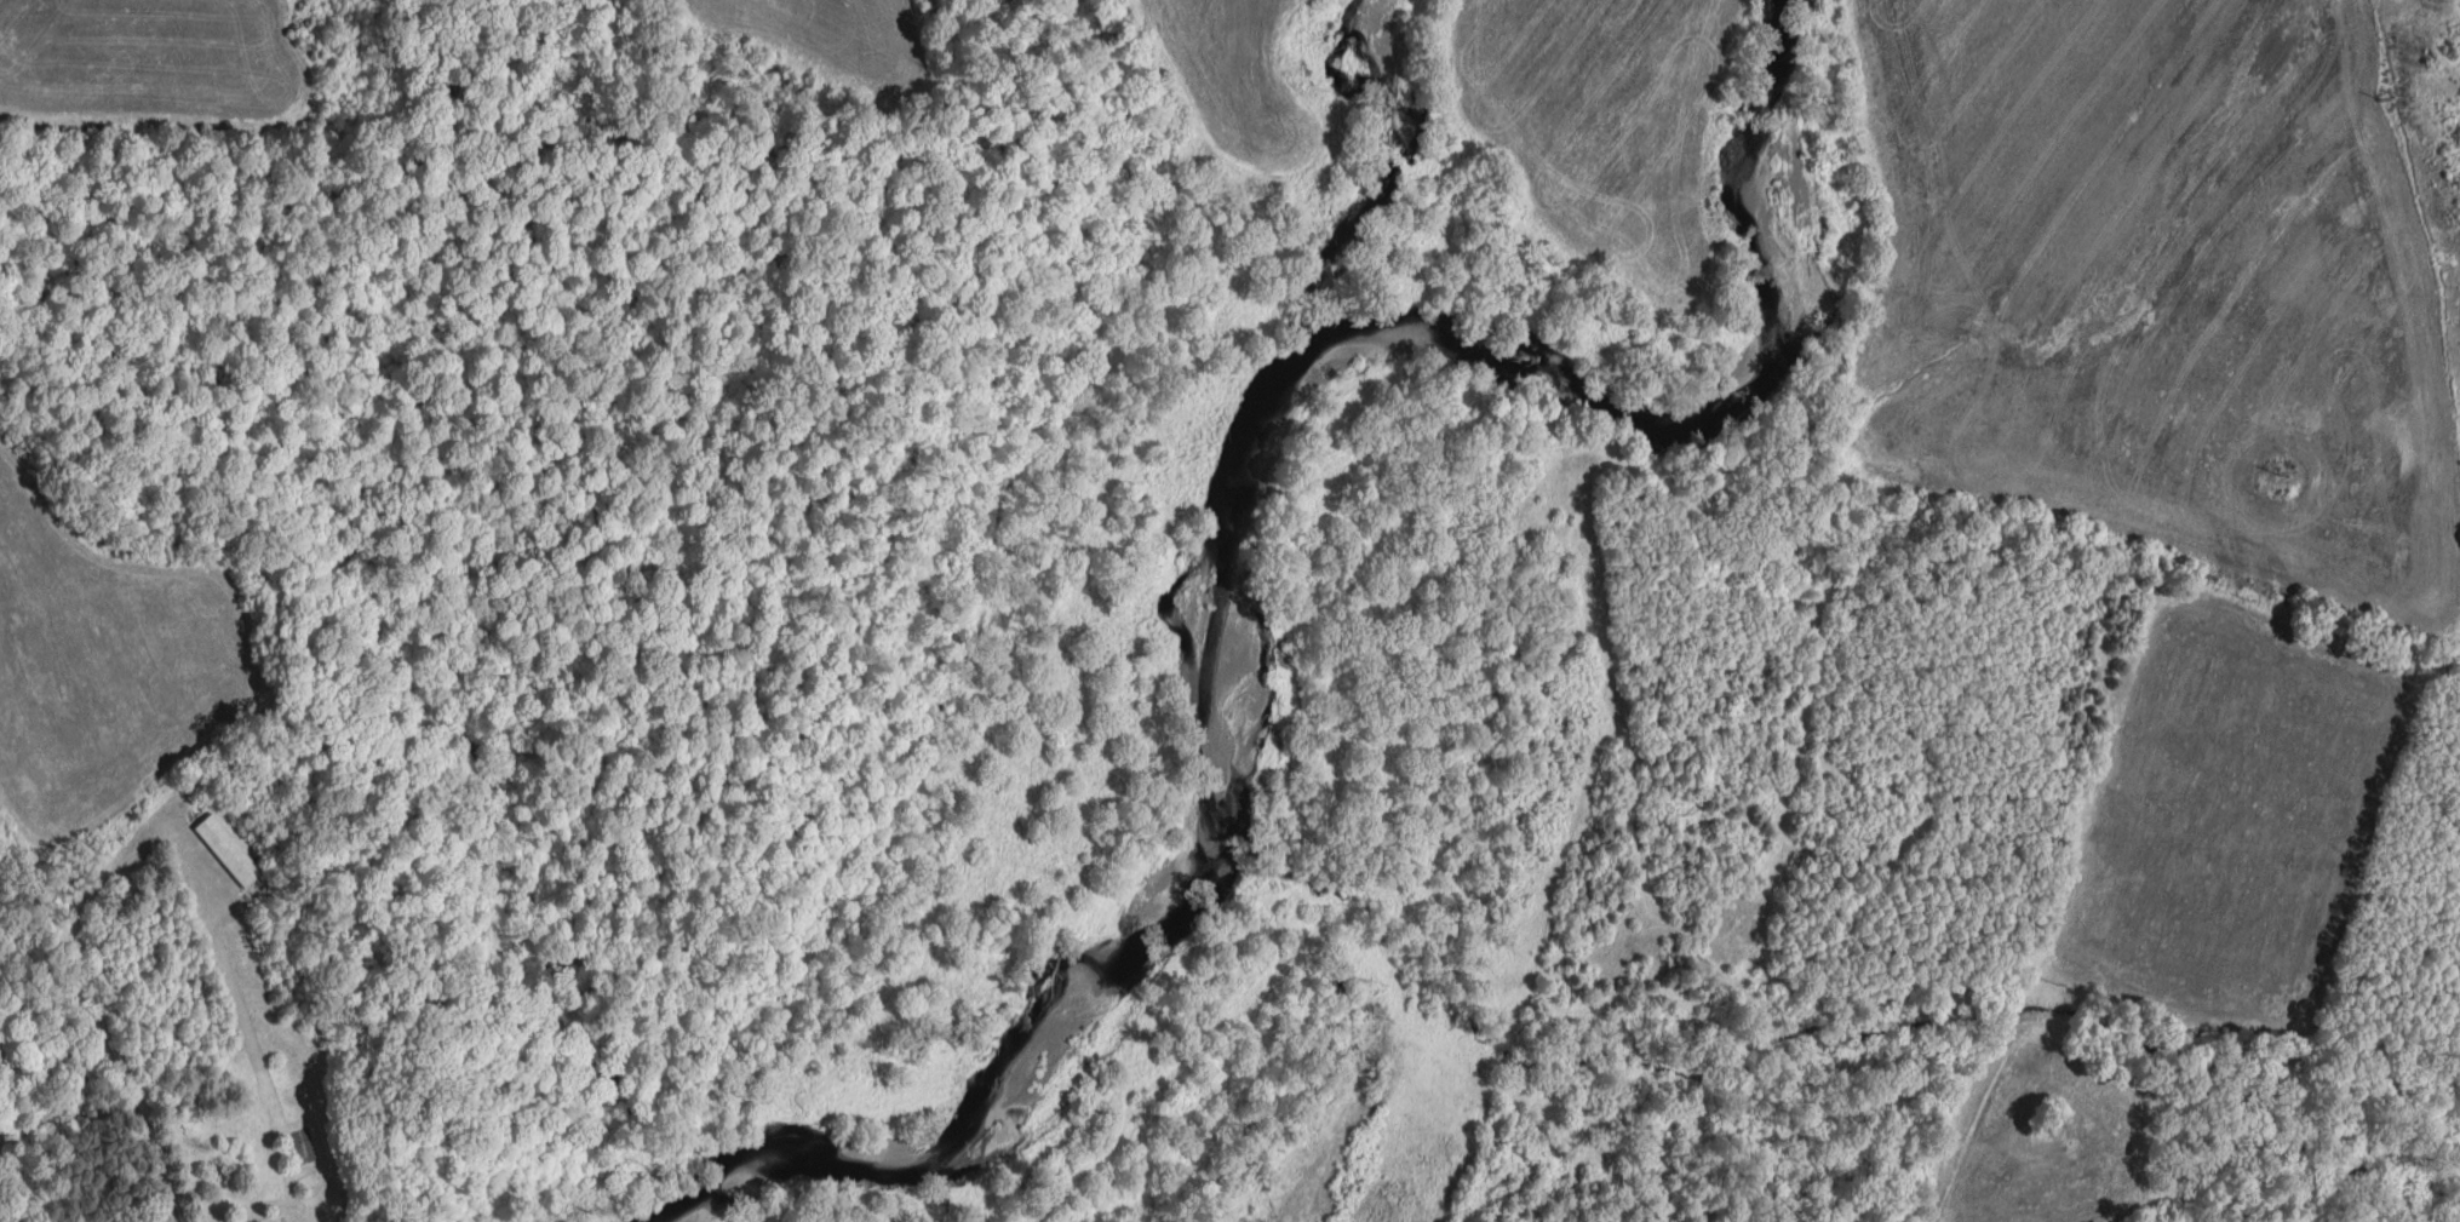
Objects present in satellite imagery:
river: (1226, 520)
building: (226, 849)
road: (111, 1113)

